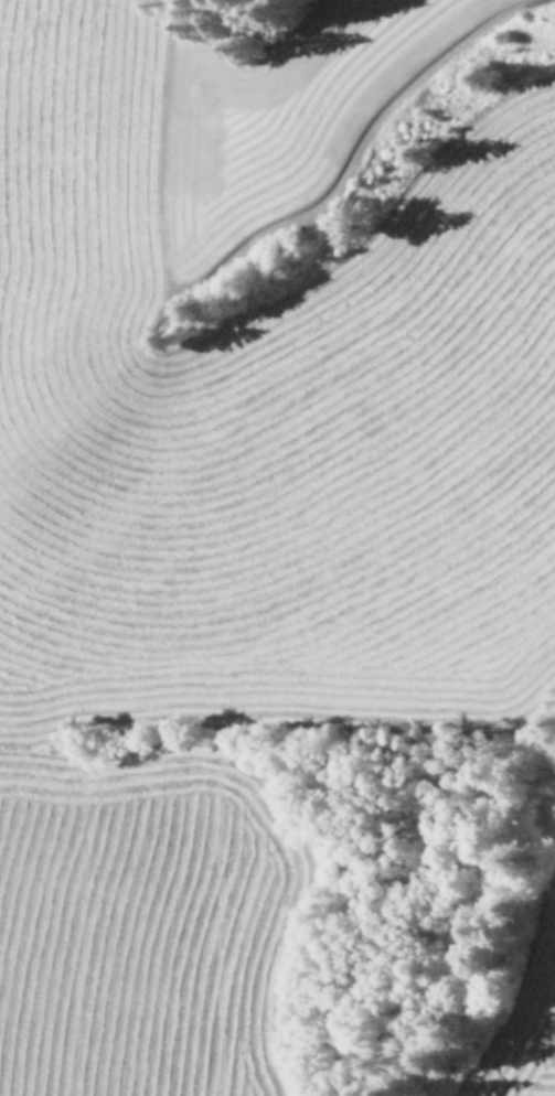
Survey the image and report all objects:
road: (260, 237)
crop: (246, 465)

